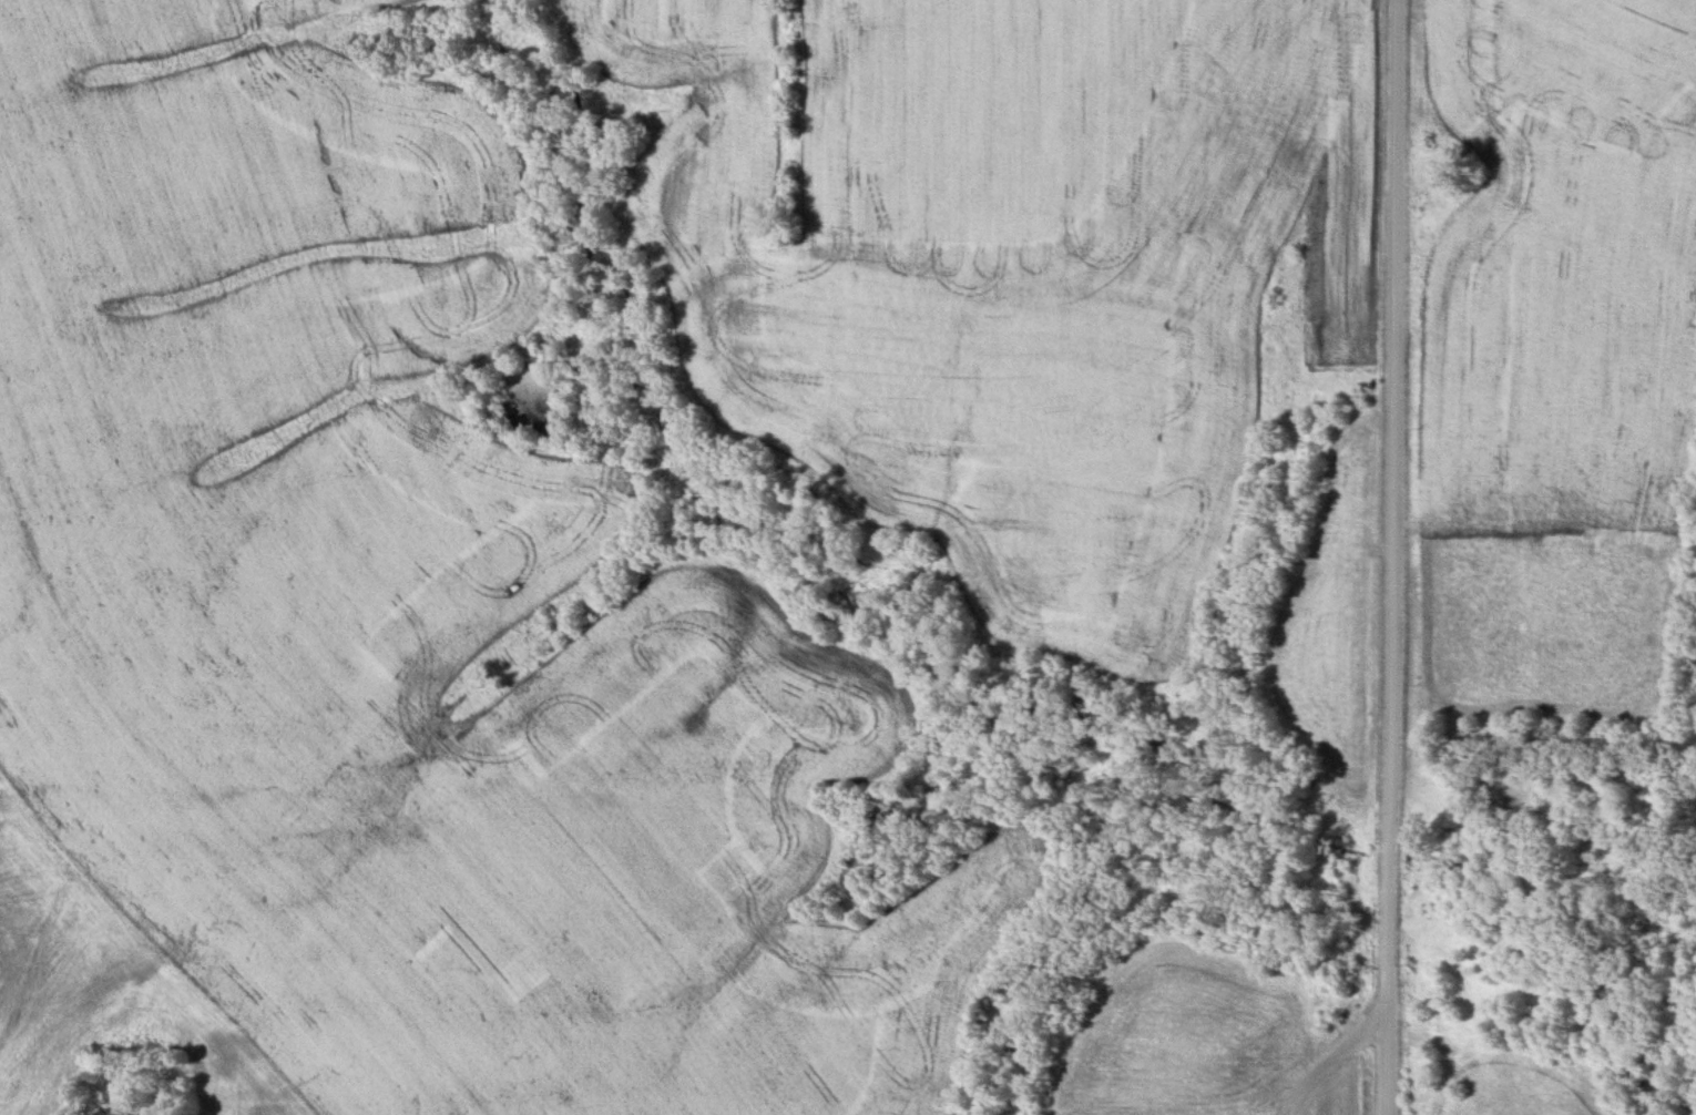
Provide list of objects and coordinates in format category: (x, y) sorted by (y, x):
road: (1392, 557)

